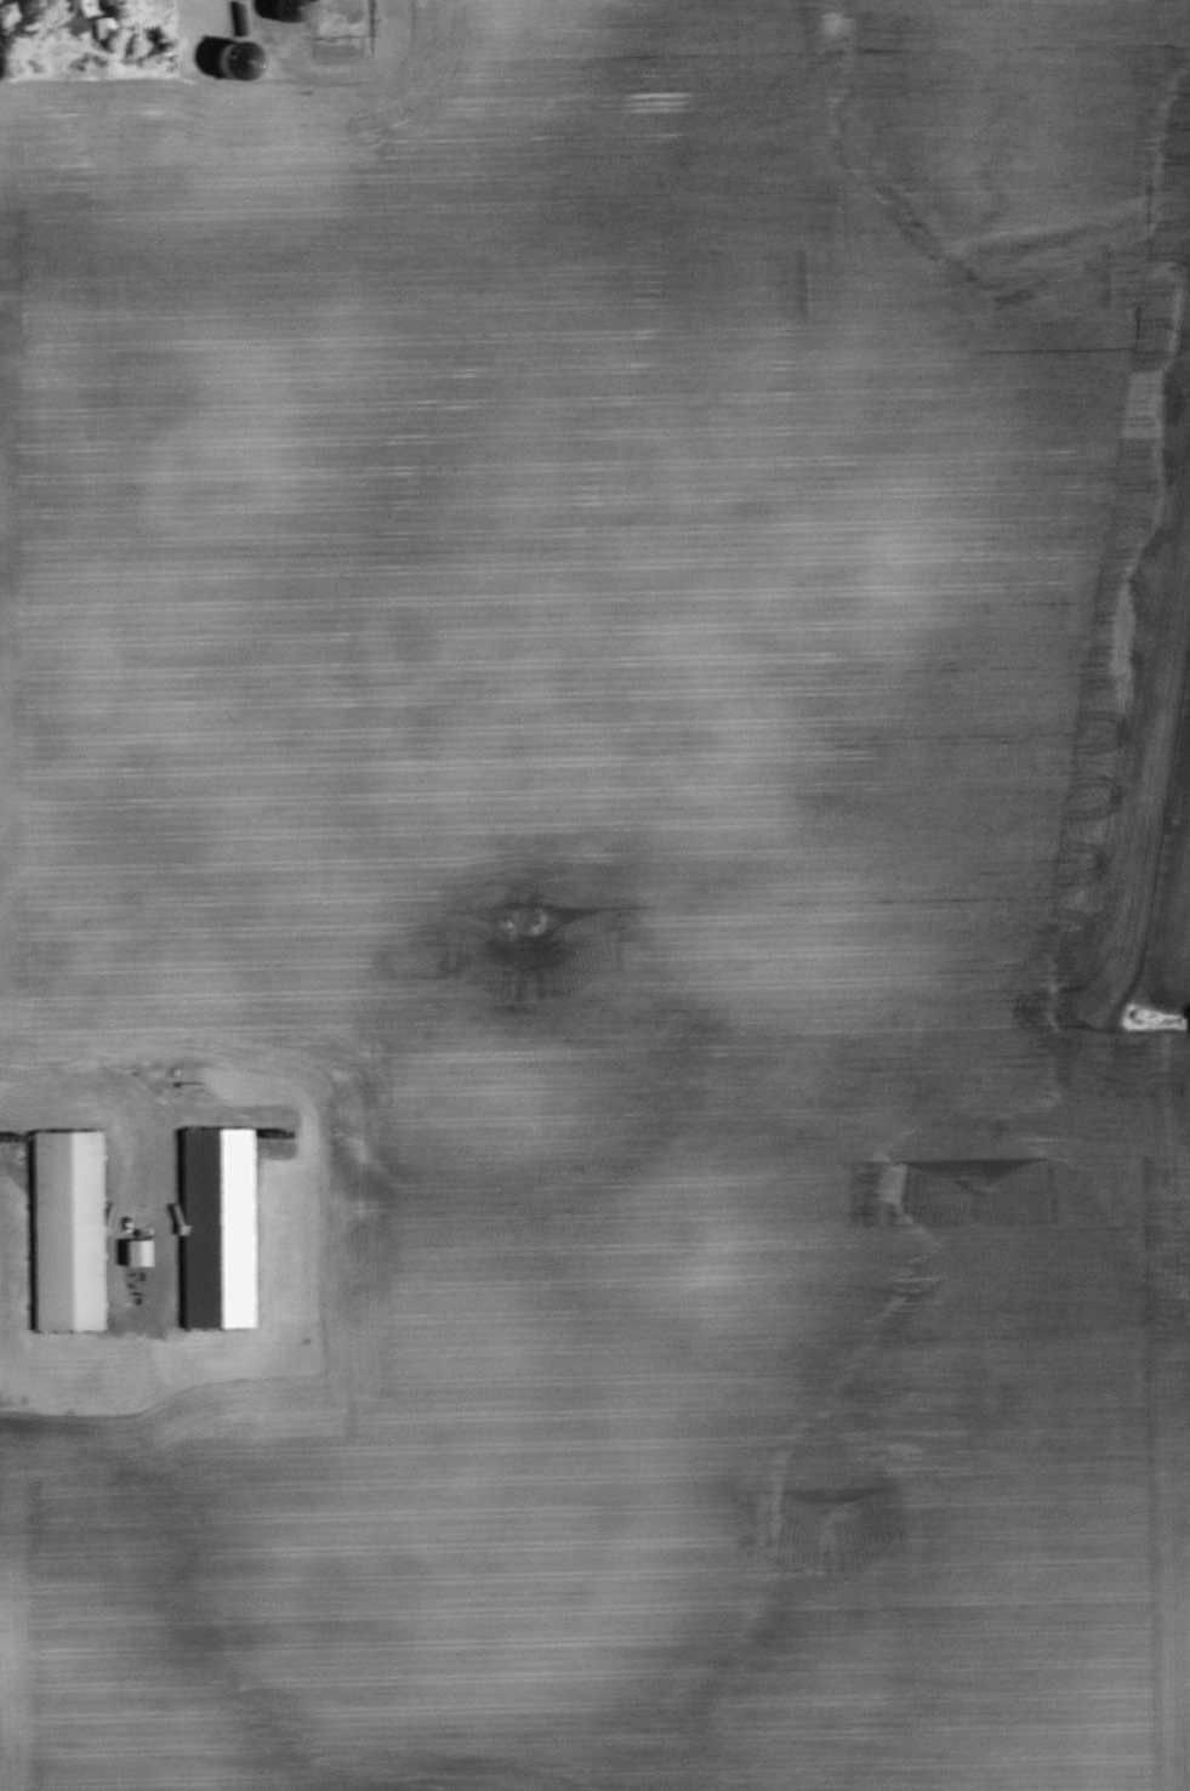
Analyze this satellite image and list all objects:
building: (89, 18)
building: (346, 27)
building: (156, 41)
road: (118, 1092)
building: (70, 1228)
building: (141, 1250)

